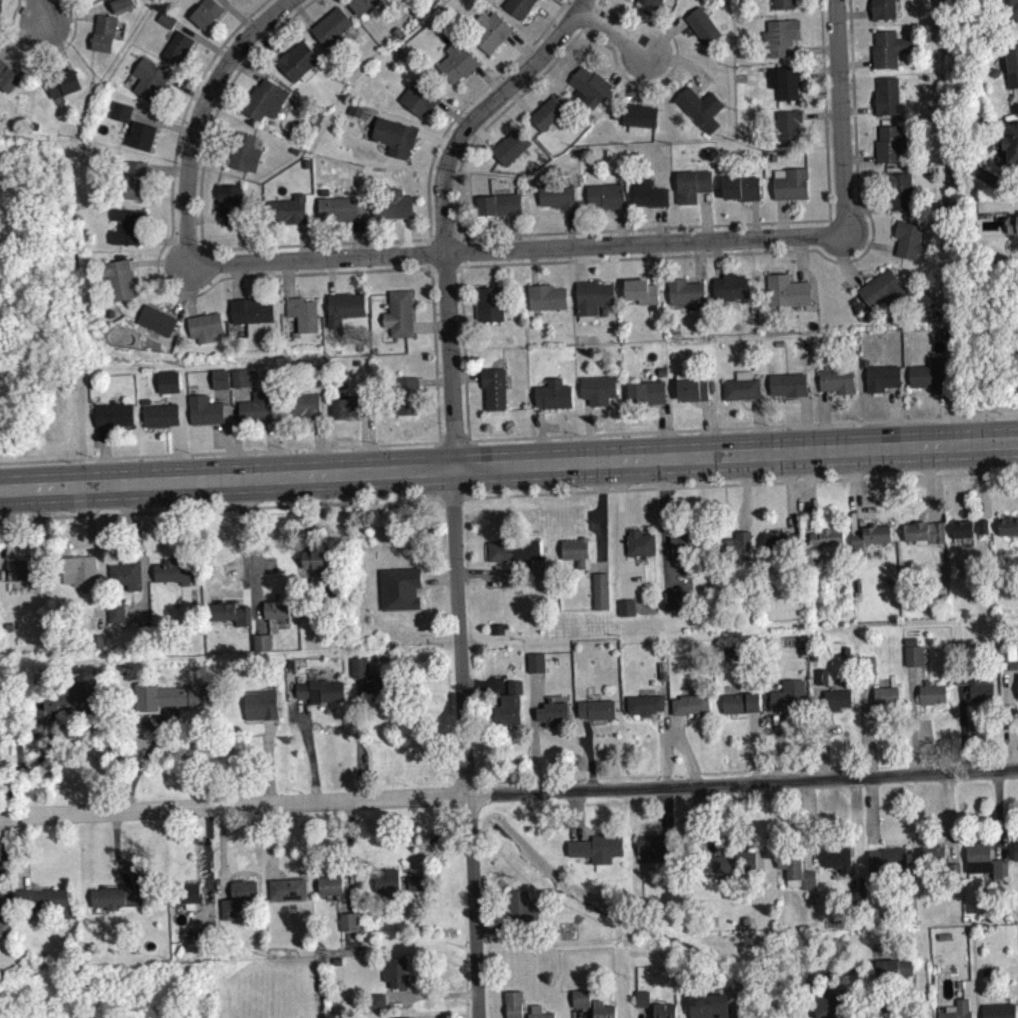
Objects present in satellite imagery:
building: (238, 1)
road: (596, 3)
building: (652, 3)
building: (783, 3)
building: (122, 4)
building: (362, 5)
building: (519, 7)
building: (883, 9)
building: (1008, 10)
road: (38, 11)
building: (207, 12)
road: (587, 17)
building: (167, 19)
building: (703, 25)
building: (169, 26)
building: (332, 26)
building: (491, 30)
building: (104, 32)
road: (614, 33)
building: (781, 36)
building: (178, 47)
building: (888, 48)
road: (42, 53)
building: (298, 61)
building: (457, 61)
building: (1012, 62)
road: (670, 68)
building: (7, 76)
building: (149, 77)
building: (784, 81)
building: (64, 83)
building: (590, 86)
building: (888, 96)
building: (420, 97)
building: (265, 100)
road: (464, 105)
building: (700, 107)
road: (823, 109)
building: (122, 110)
building: (356, 110)
building: (546, 113)
road: (202, 115)
building: (634, 115)
building: (124, 118)
road: (839, 118)
road: (492, 120)
building: (789, 127)
building: (142, 135)
building: (395, 136)
building: (1011, 143)
building: (890, 144)
building: (511, 146)
building: (244, 151)
building: (135, 179)
building: (791, 183)
building: (692, 185)
building: (741, 187)
building: (900, 190)
building: (649, 193)
building: (557, 194)
building: (605, 195)
building: (231, 202)
building: (393, 204)
building: (503, 205)
building: (338, 207)
building: (289, 208)
road: (200, 219)
building: (1012, 223)
building: (129, 225)
road: (643, 227)
road: (443, 237)
building: (909, 239)
road: (517, 248)
road: (793, 249)
road: (458, 250)
road: (429, 251)
road: (157, 263)
road: (444, 264)
building: (119, 277)
building: (730, 287)
building: (641, 290)
building: (885, 290)
building: (685, 291)
building: (787, 291)
building: (547, 296)
building: (592, 298)
building: (490, 304)
building: (345, 306)
building: (251, 310)
building: (303, 313)
building: (400, 313)
building: (157, 320)
building: (205, 325)
road: (433, 352)
road: (463, 352)
building: (931, 373)
building: (241, 377)
building: (882, 377)
building: (220, 378)
building: (837, 378)
building: (168, 381)
building: (789, 384)
building: (243, 385)
building: (691, 386)
building: (742, 386)
building: (494, 387)
building: (598, 389)
building: (646, 392)
building: (554, 393)
building: (407, 396)
building: (303, 405)
building: (353, 405)
building: (257, 407)
building: (205, 408)
building: (113, 413)
building: (160, 413)
road: (742, 427)
road: (452, 440)
road: (219, 452)
road: (509, 465)
road: (452, 482)
road: (739, 483)
road: (457, 497)
road: (446, 498)
road: (219, 508)
building: (1008, 525)
building: (969, 527)
building: (925, 532)
road: (241, 535)
building: (871, 536)
building: (827, 537)
building: (688, 539)
building: (640, 542)
building: (782, 542)
building: (736, 546)
building: (512, 548)
building: (576, 550)
building: (320, 559)
building: (27, 568)
building: (79, 570)
building: (174, 570)
building: (127, 573)
building: (601, 590)
building: (414, 594)
building: (628, 607)
building: (677, 607)
building: (276, 609)
building: (116, 611)
building: (230, 612)
building: (630, 614)
building: (262, 641)
building: (264, 649)
building: (916, 659)
building: (534, 660)
building: (359, 666)
building: (538, 669)
building: (362, 675)
building: (824, 683)
building: (378, 687)
building: (320, 689)
building: (186, 694)
building: (71, 695)
building: (980, 696)
building: (935, 700)
building: (740, 701)
building: (690, 702)
building: (260, 703)
building: (508, 703)
building: (645, 703)
building: (791, 703)
building: (889, 703)
building: (841, 706)
building: (596, 707)
building: (744, 710)
building: (552, 711)
building: (648, 711)
building: (693, 711)
building: (599, 716)
road: (533, 729)
road: (20, 733)
road: (144, 760)
road: (508, 790)
road: (432, 837)
road: (348, 855)
building: (599, 855)
building: (656, 855)
building: (1017, 857)
building: (935, 861)
road: (210, 865)
building: (841, 865)
building: (890, 868)
building: (987, 868)
building: (732, 869)
building: (799, 879)
building: (386, 880)
building: (414, 881)
building: (330, 884)
building: (285, 887)
building: (418, 890)
building: (187, 892)
building: (333, 894)
building: (115, 895)
building: (237, 895)
building: (1, 900)
building: (44, 900)
building: (117, 906)
building: (523, 915)
building: (347, 919)
building: (5, 926)
building: (351, 928)
building: (206, 934)
building: (395, 971)
building: (895, 975)
building: (377, 999)
building: (583, 1005)
building: (645, 1005)
building: (832, 1006)
building: (380, 1007)
building: (516, 1008)
building: (712, 1009)
building: (962, 1012)
building: (605, 1013)
building: (537, 1014)
building: (667, 1014)
building: (400, 1016)

